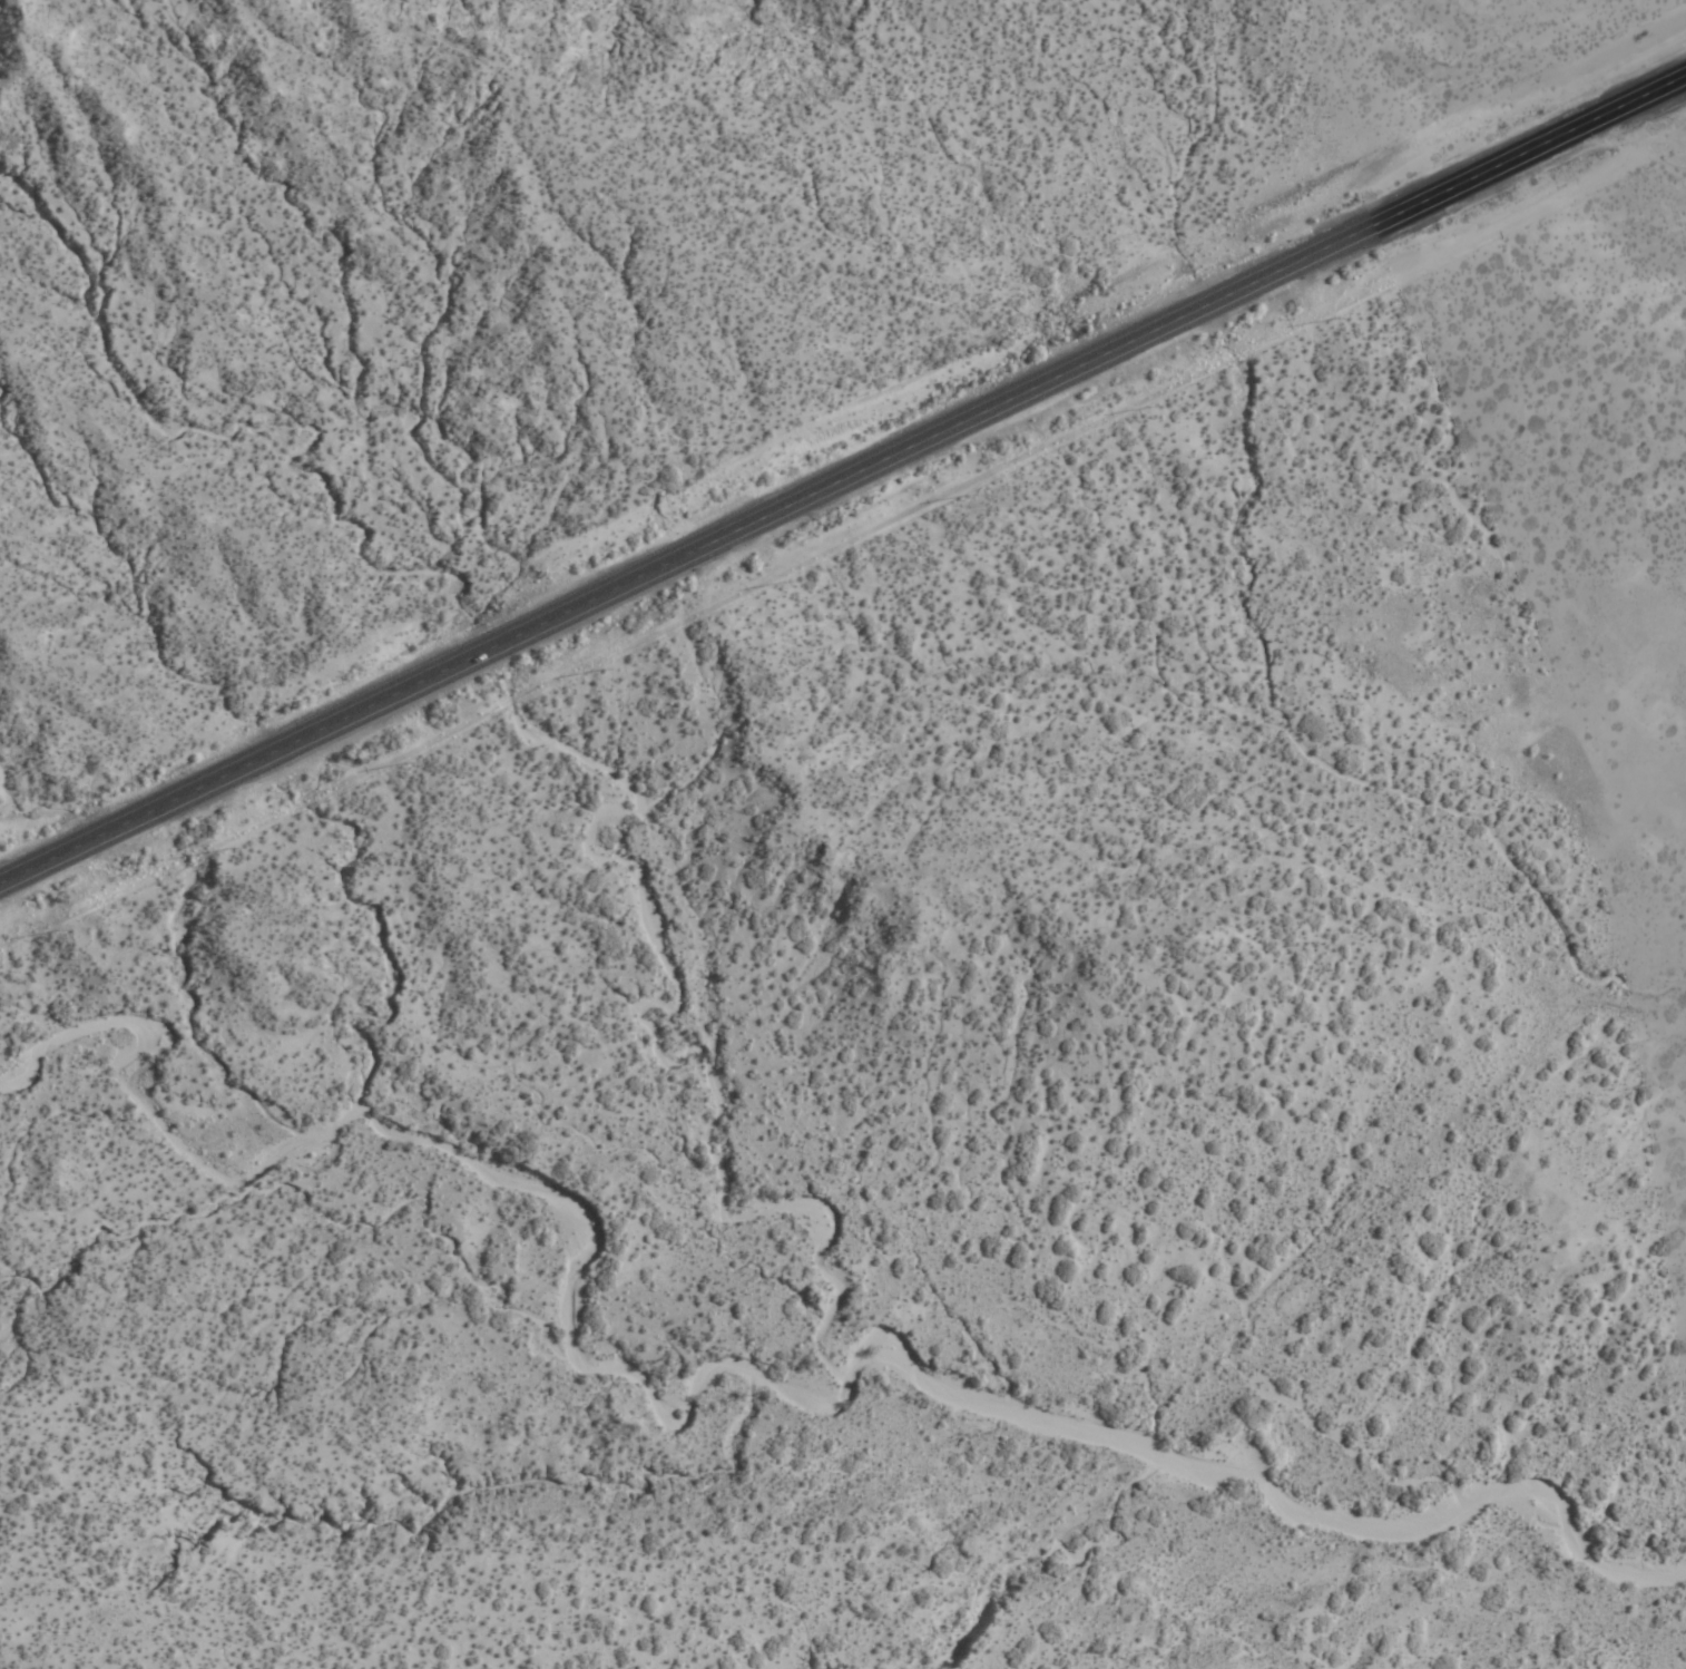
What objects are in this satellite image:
road: (843, 477)

